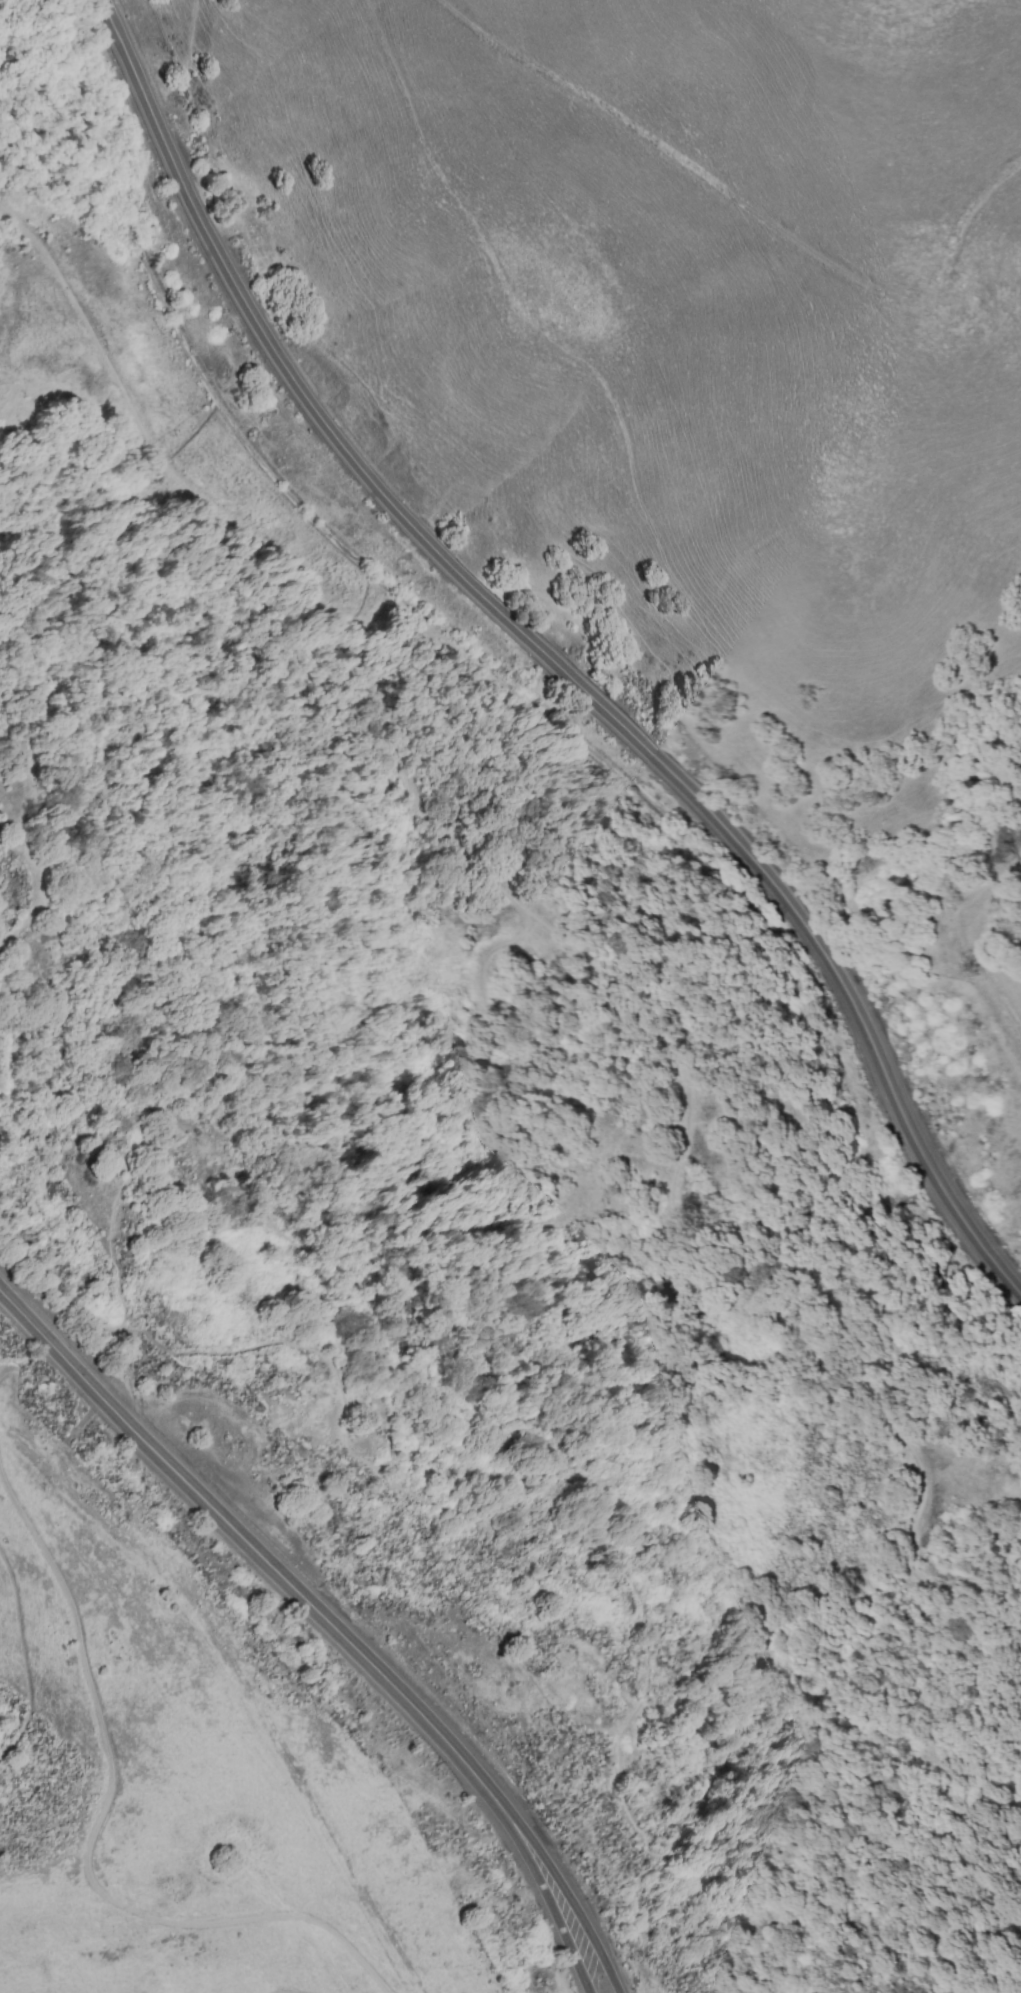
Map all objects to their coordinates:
road: (751, 208)
road: (271, 552)
road: (549, 657)
road: (51, 847)
road: (131, 1134)
road: (109, 1318)
road: (600, 1341)
road: (816, 1355)
road: (188, 1367)
road: (9, 1370)
parking lot: (231, 1481)
road: (249, 1542)
road: (24, 1658)
road: (240, 1688)
road: (622, 1784)
road: (103, 1829)
road: (567, 1890)
road: (549, 1893)
road: (288, 1992)

